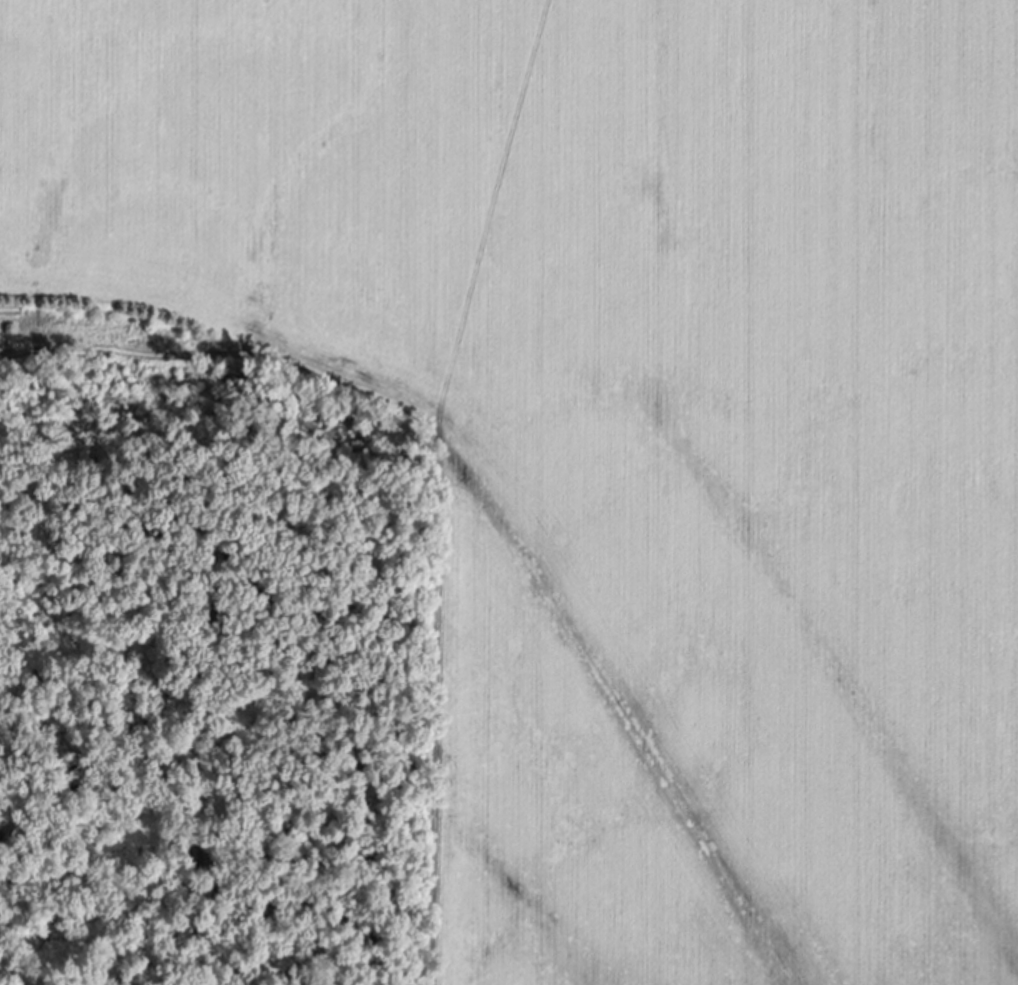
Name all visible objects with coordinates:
crop: (625, 430)

